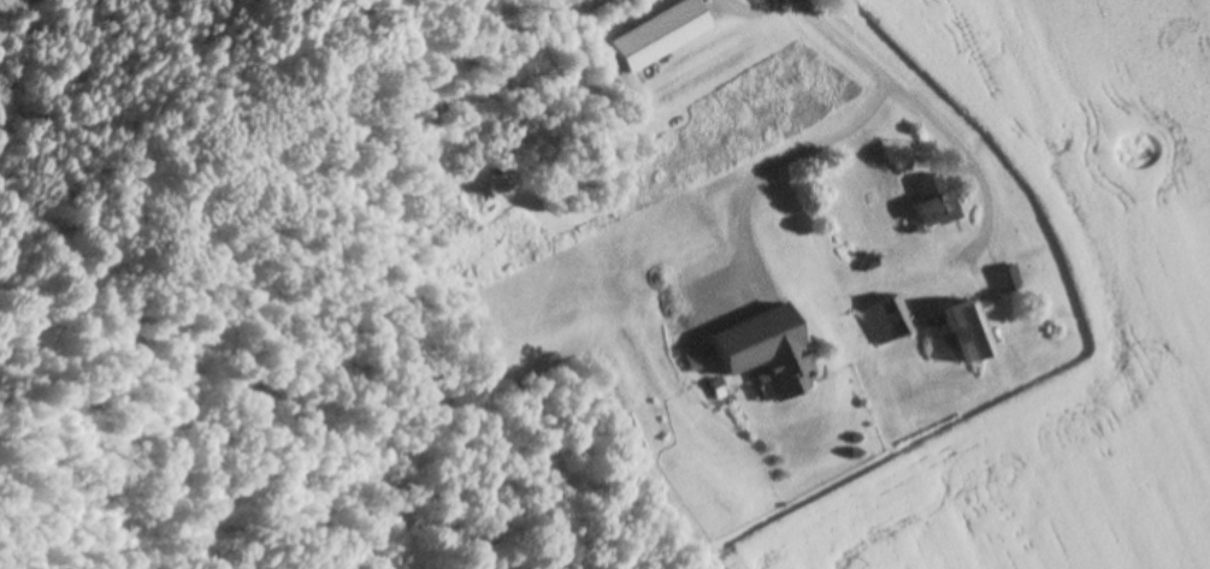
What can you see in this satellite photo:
building: (659, 37)
road: (923, 113)
road: (772, 161)
building: (937, 213)
building: (1007, 281)
building: (887, 321)
building: (969, 331)
building: (767, 352)

